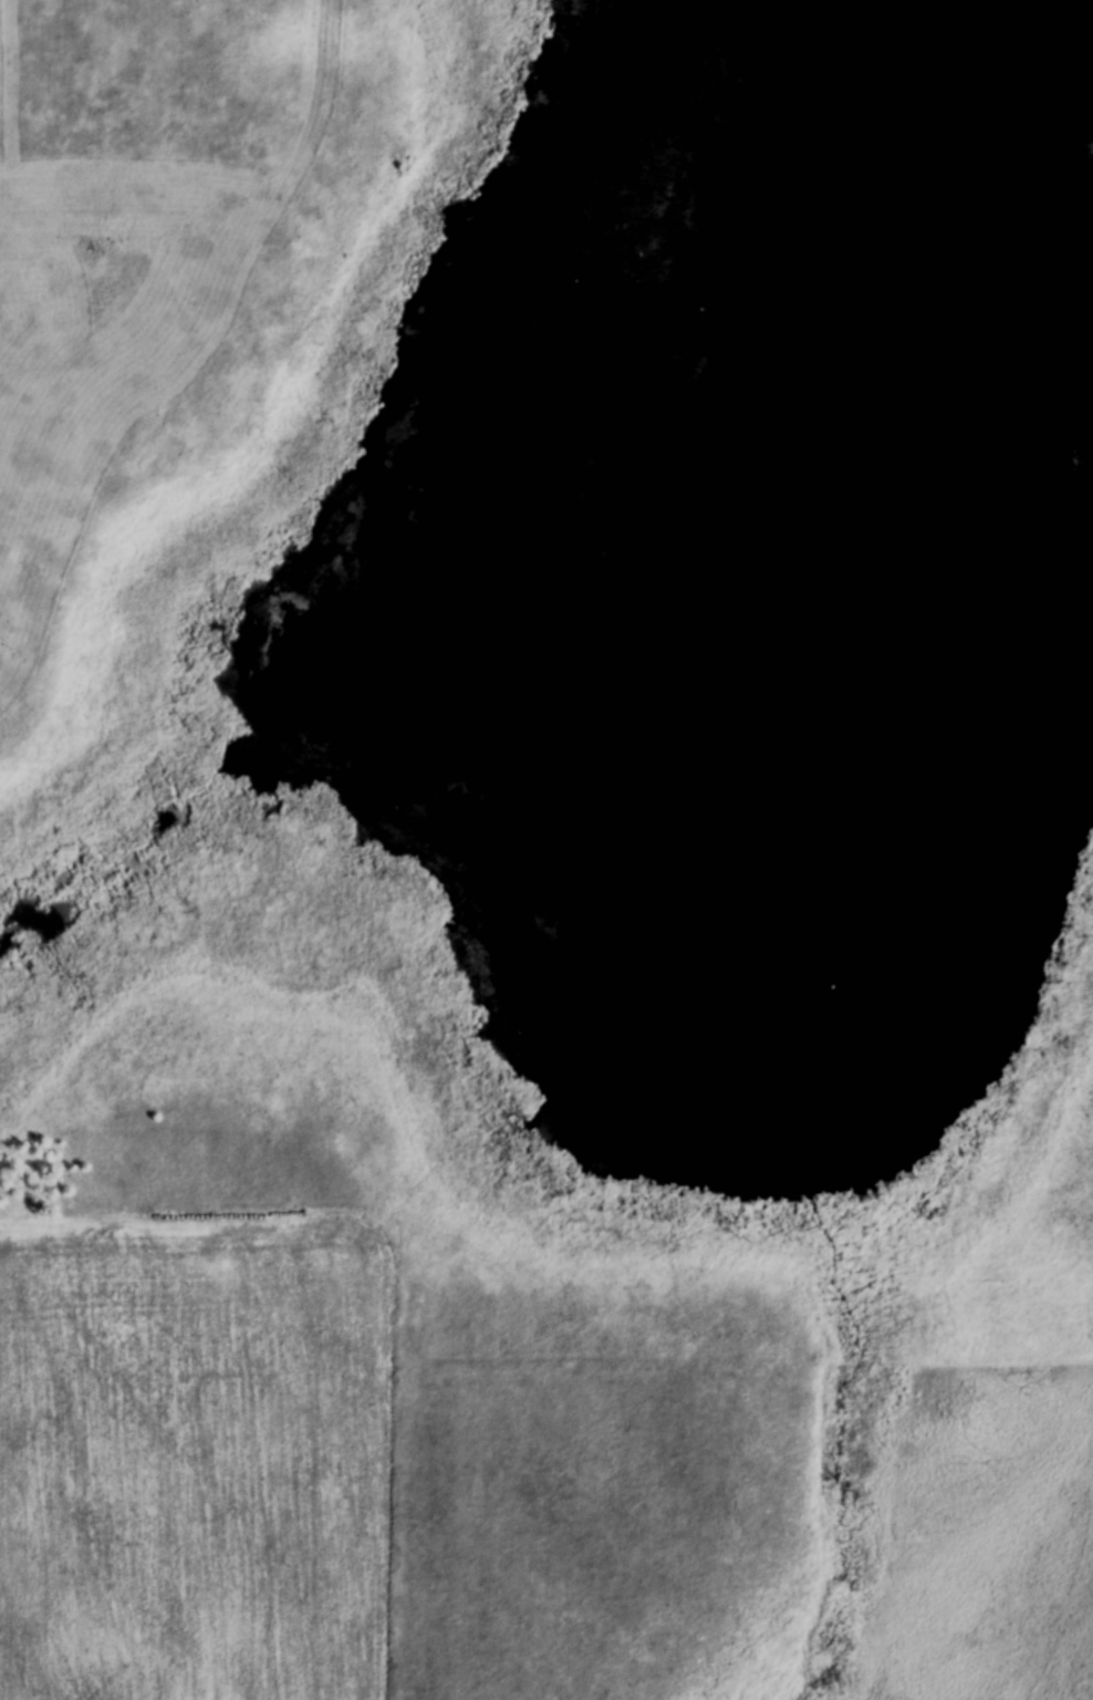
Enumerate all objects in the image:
river: (794, 683)
river: (200, 902)

